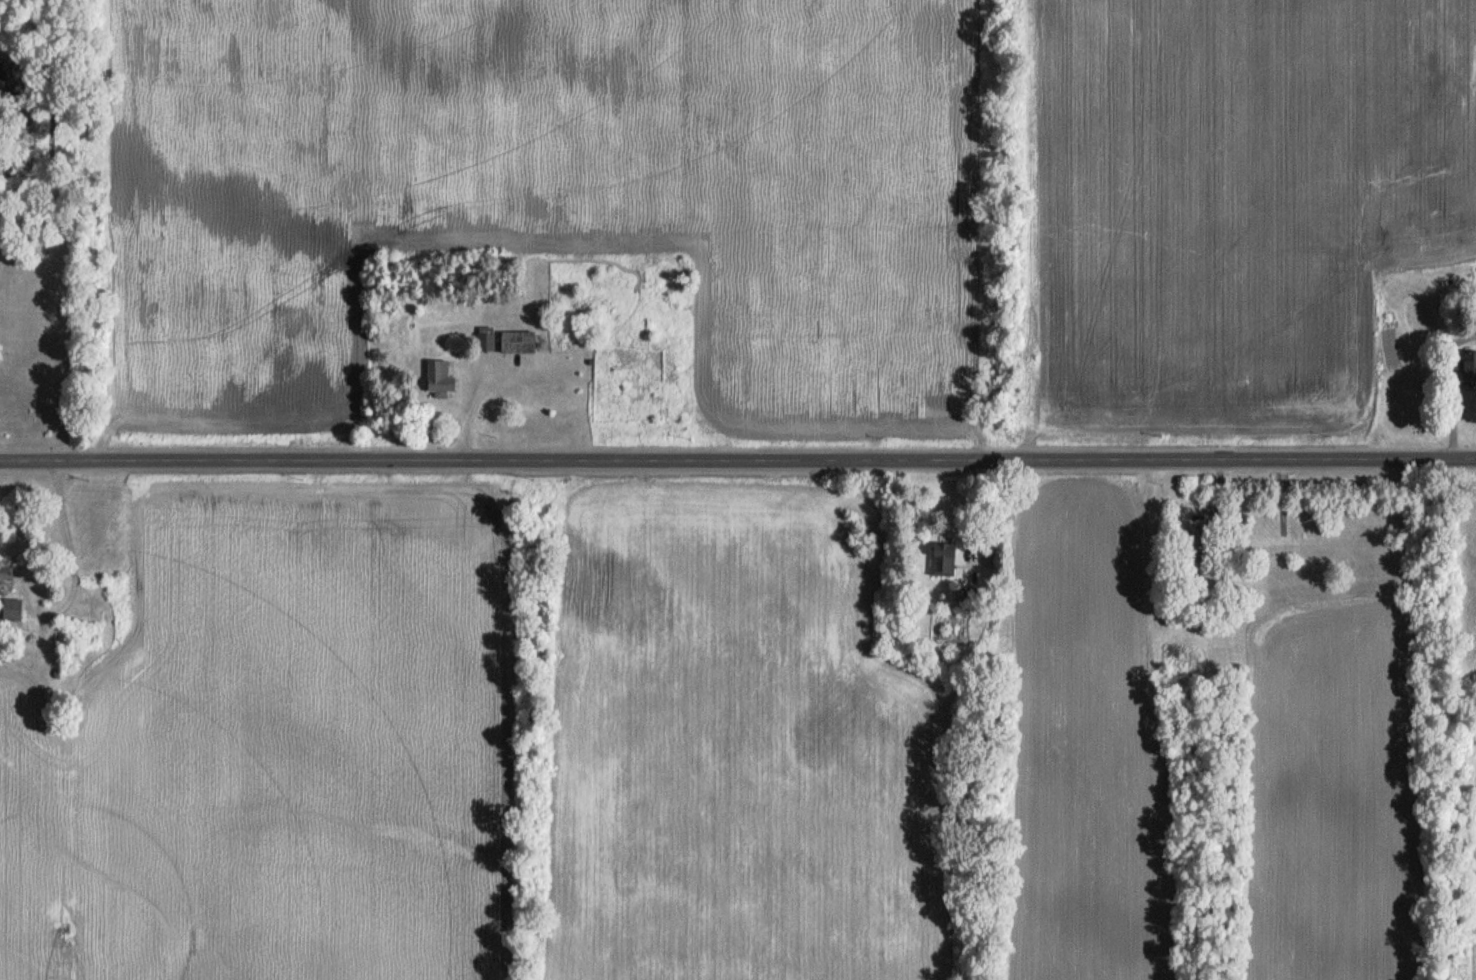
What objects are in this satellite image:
building: (485, 338)
building: (519, 342)
building: (1470, 366)
building: (439, 379)
road: (737, 454)
building: (1196, 541)
road: (68, 546)
building: (942, 559)
building: (5, 578)
building: (12, 610)

